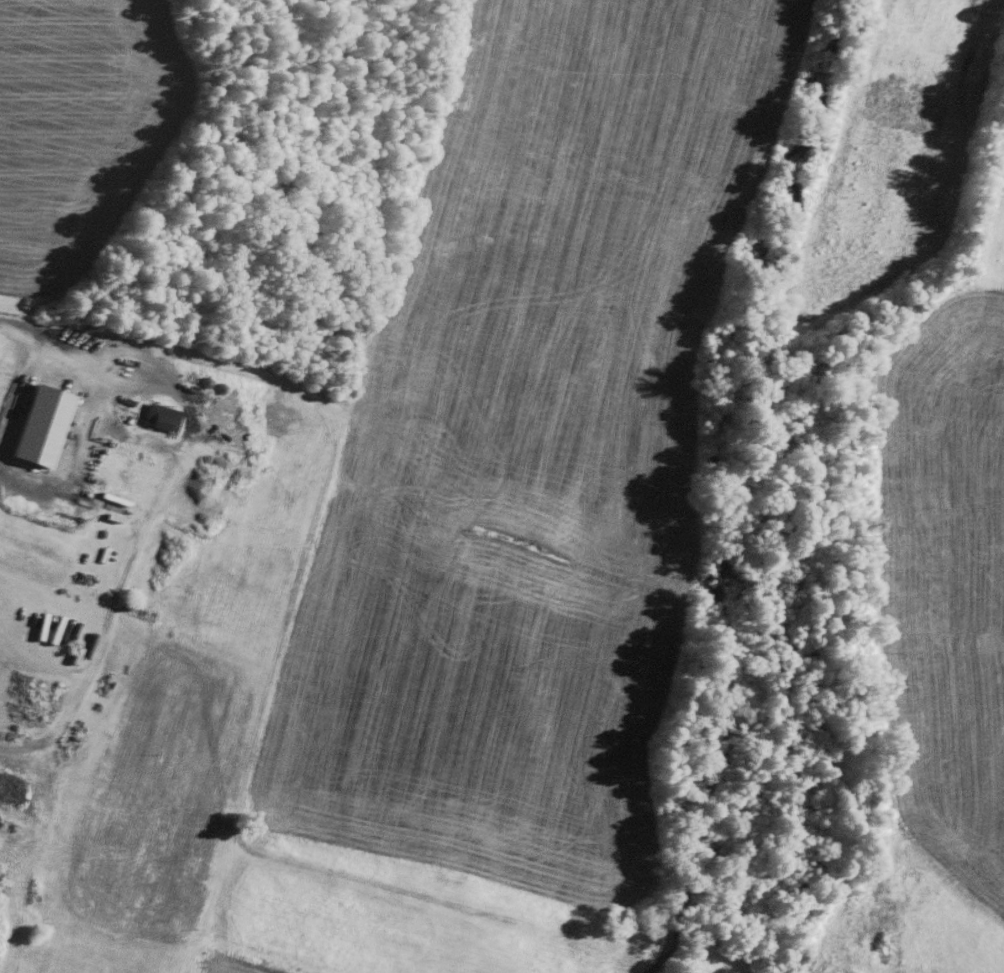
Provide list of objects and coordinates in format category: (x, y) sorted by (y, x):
building: (158, 415)
building: (37, 423)
road: (164, 482)

